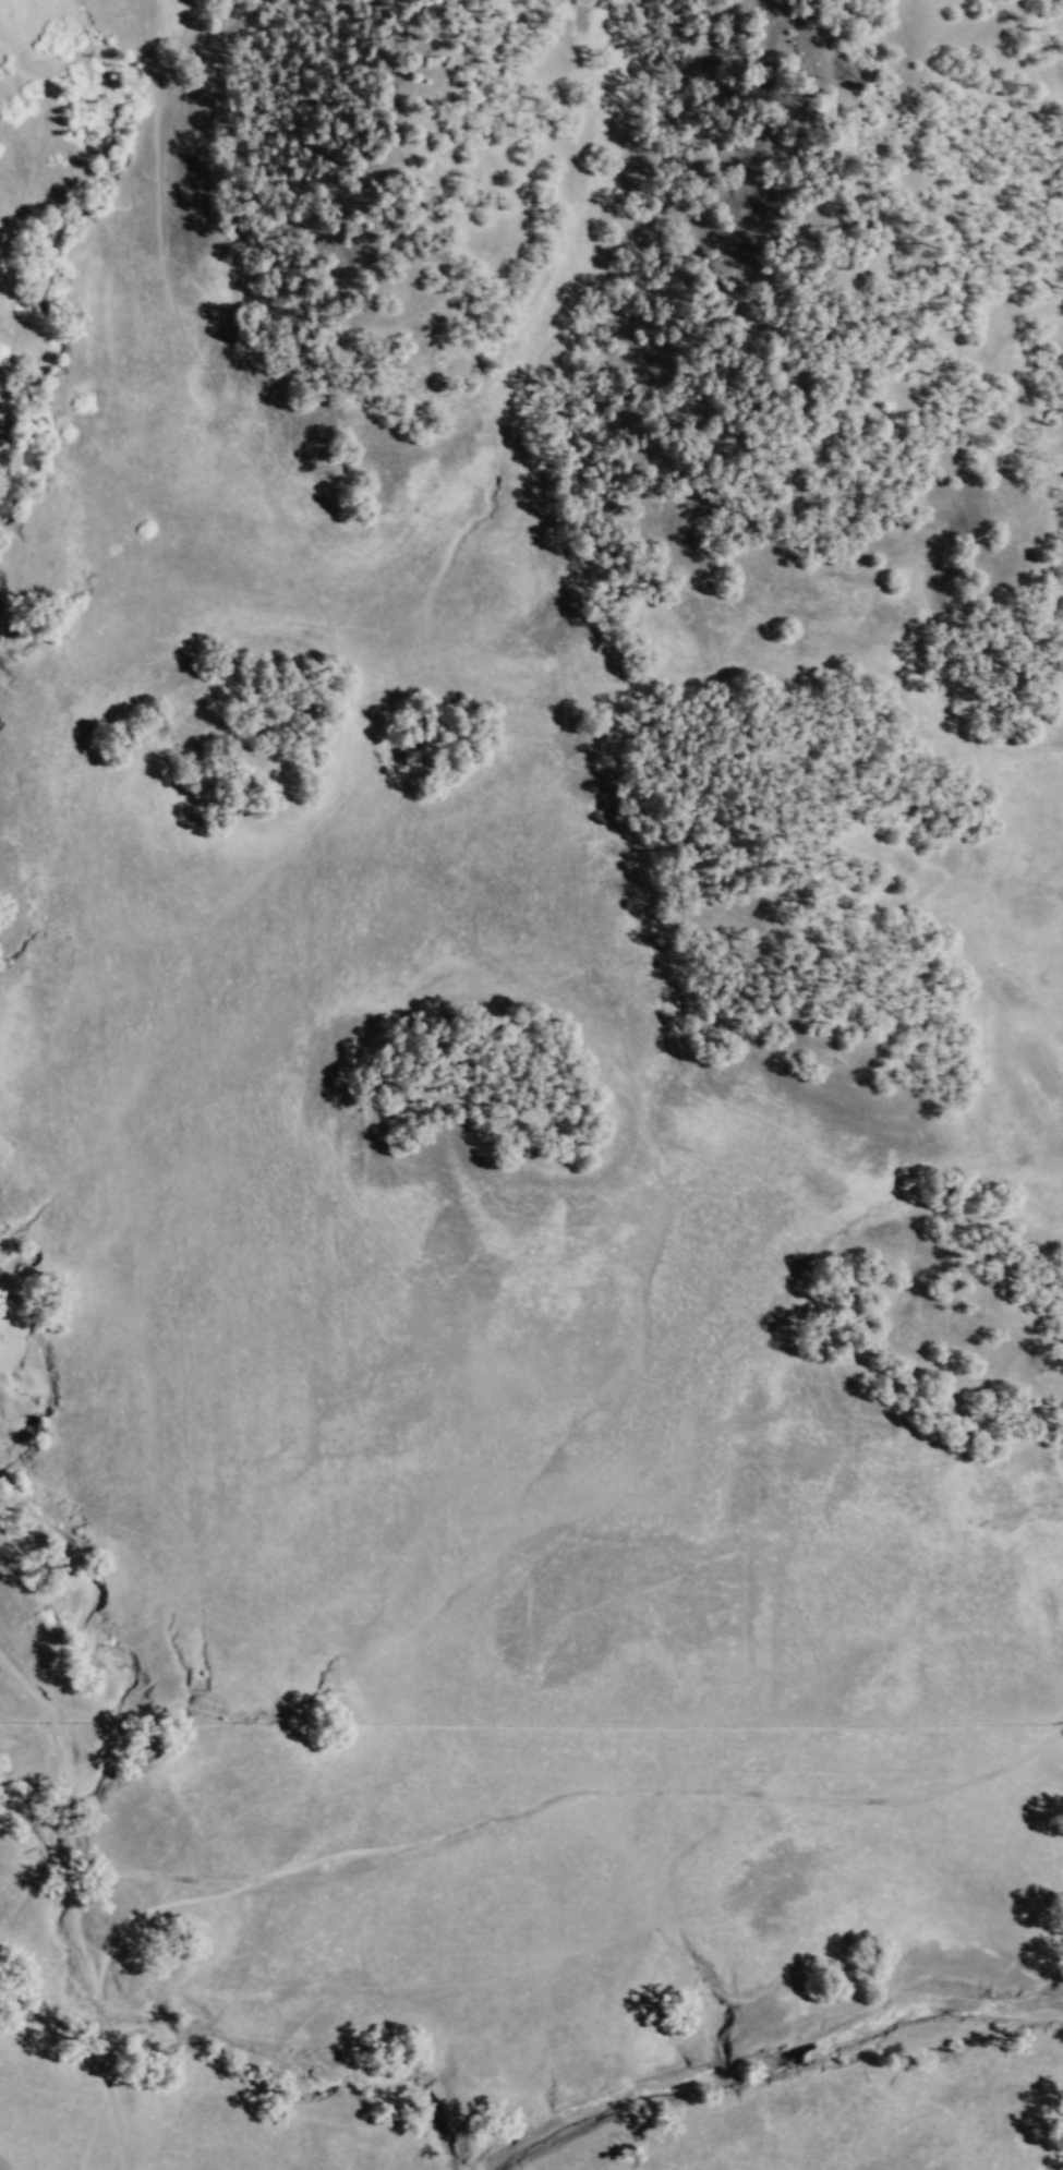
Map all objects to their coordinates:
road: (573, 1797)
road: (78, 1813)
road: (99, 1993)

